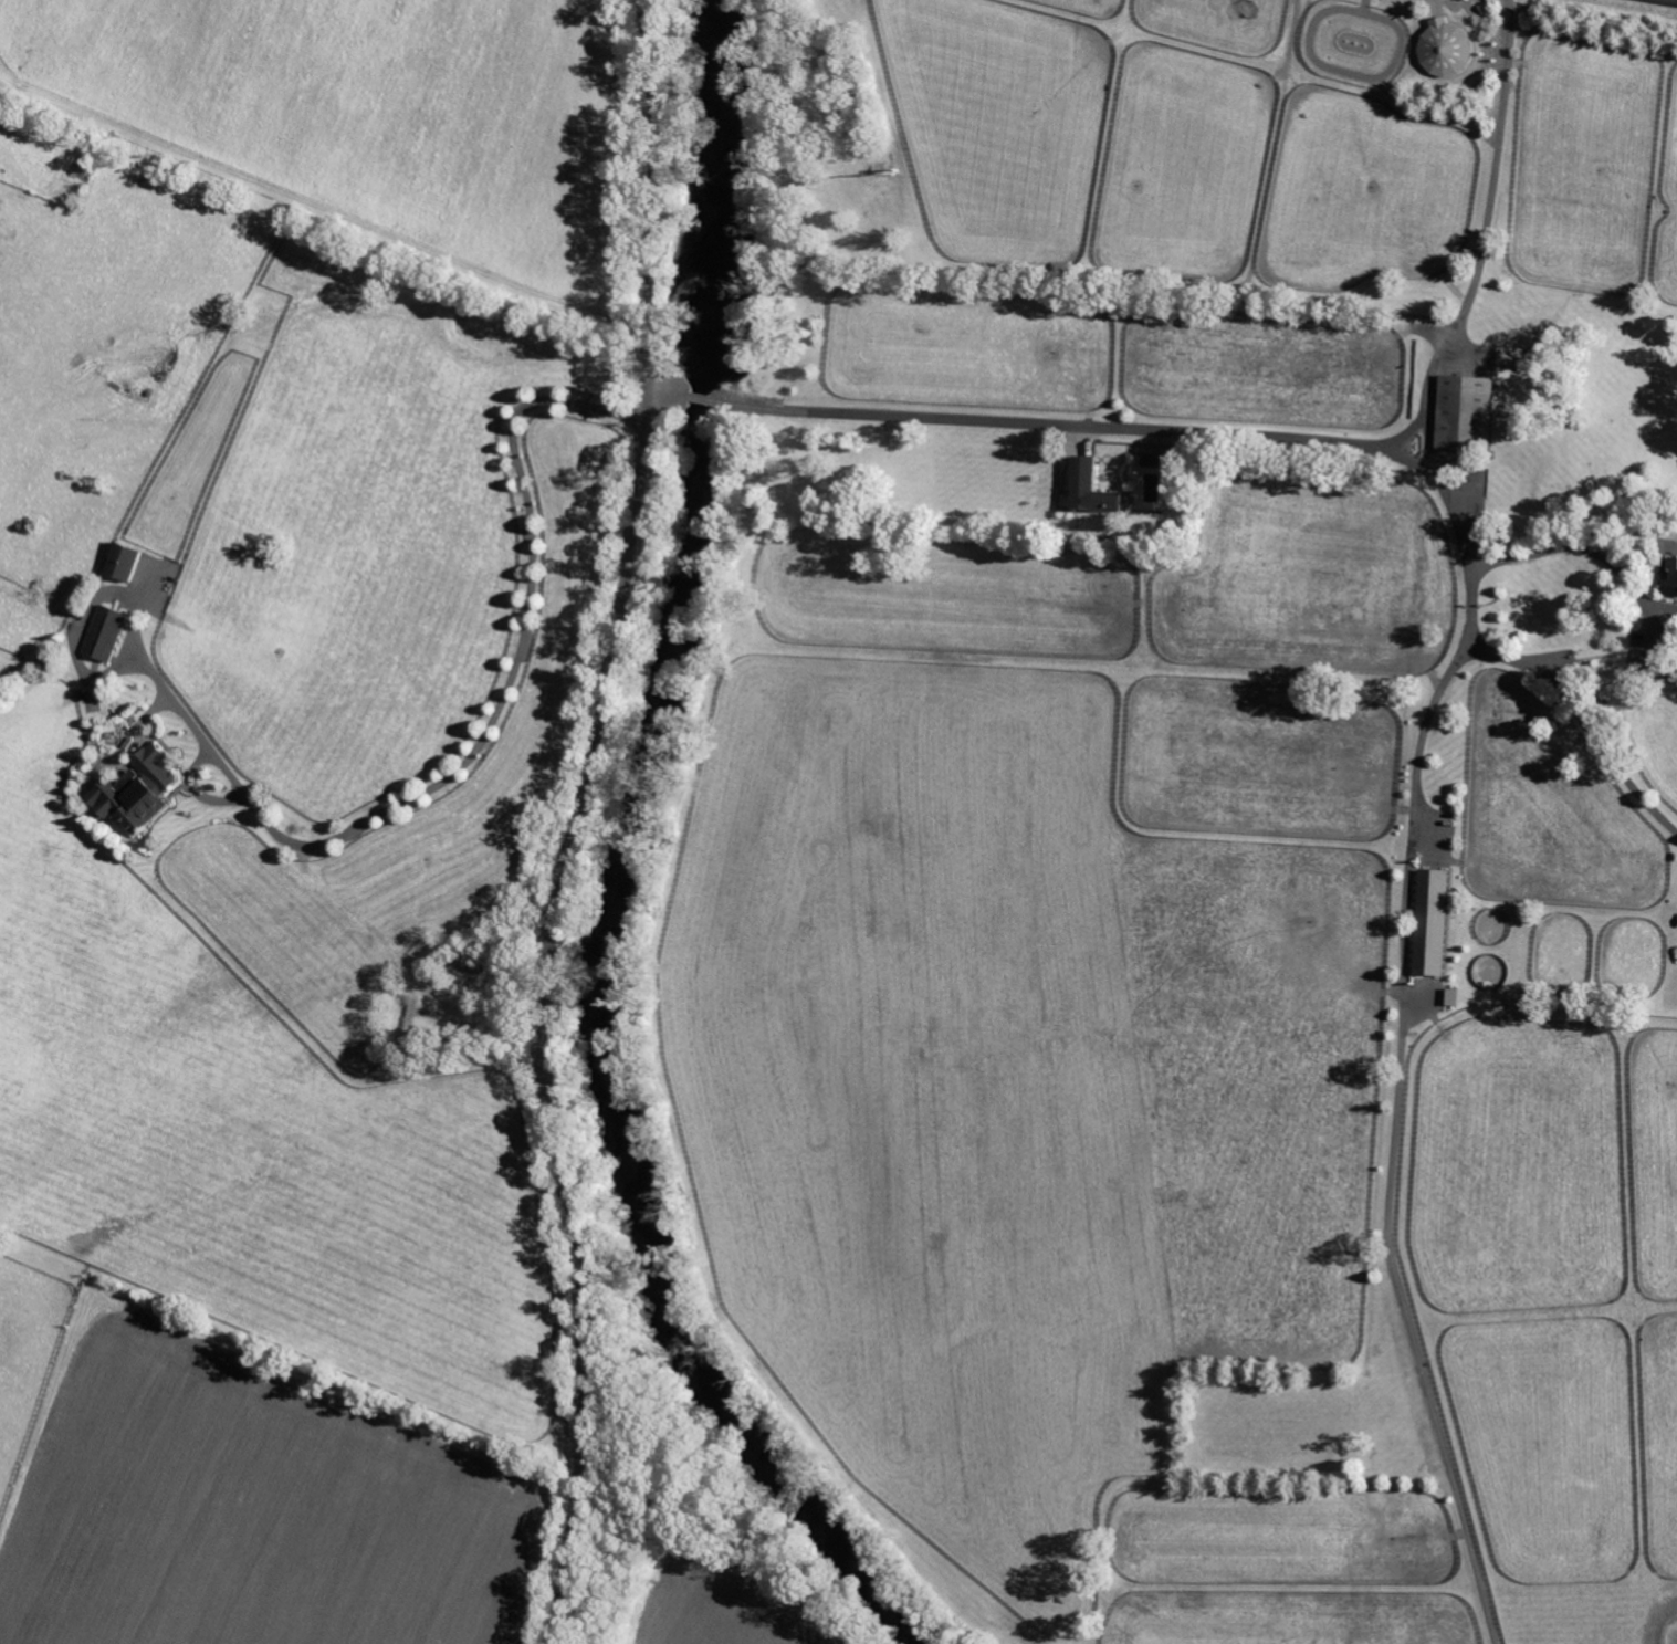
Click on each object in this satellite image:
road: (321, 207)
road: (1485, 227)
road: (670, 394)
road: (700, 398)
building: (1461, 412)
road: (1317, 440)
building: (1087, 489)
road: (1601, 556)
building: (119, 563)
building: (1668, 576)
road: (1659, 606)
building: (103, 633)
building: (136, 790)
road: (390, 806)
road: (580, 823)
river: (626, 872)
building: (1428, 920)
building: (1448, 996)
road: (1394, 1143)

